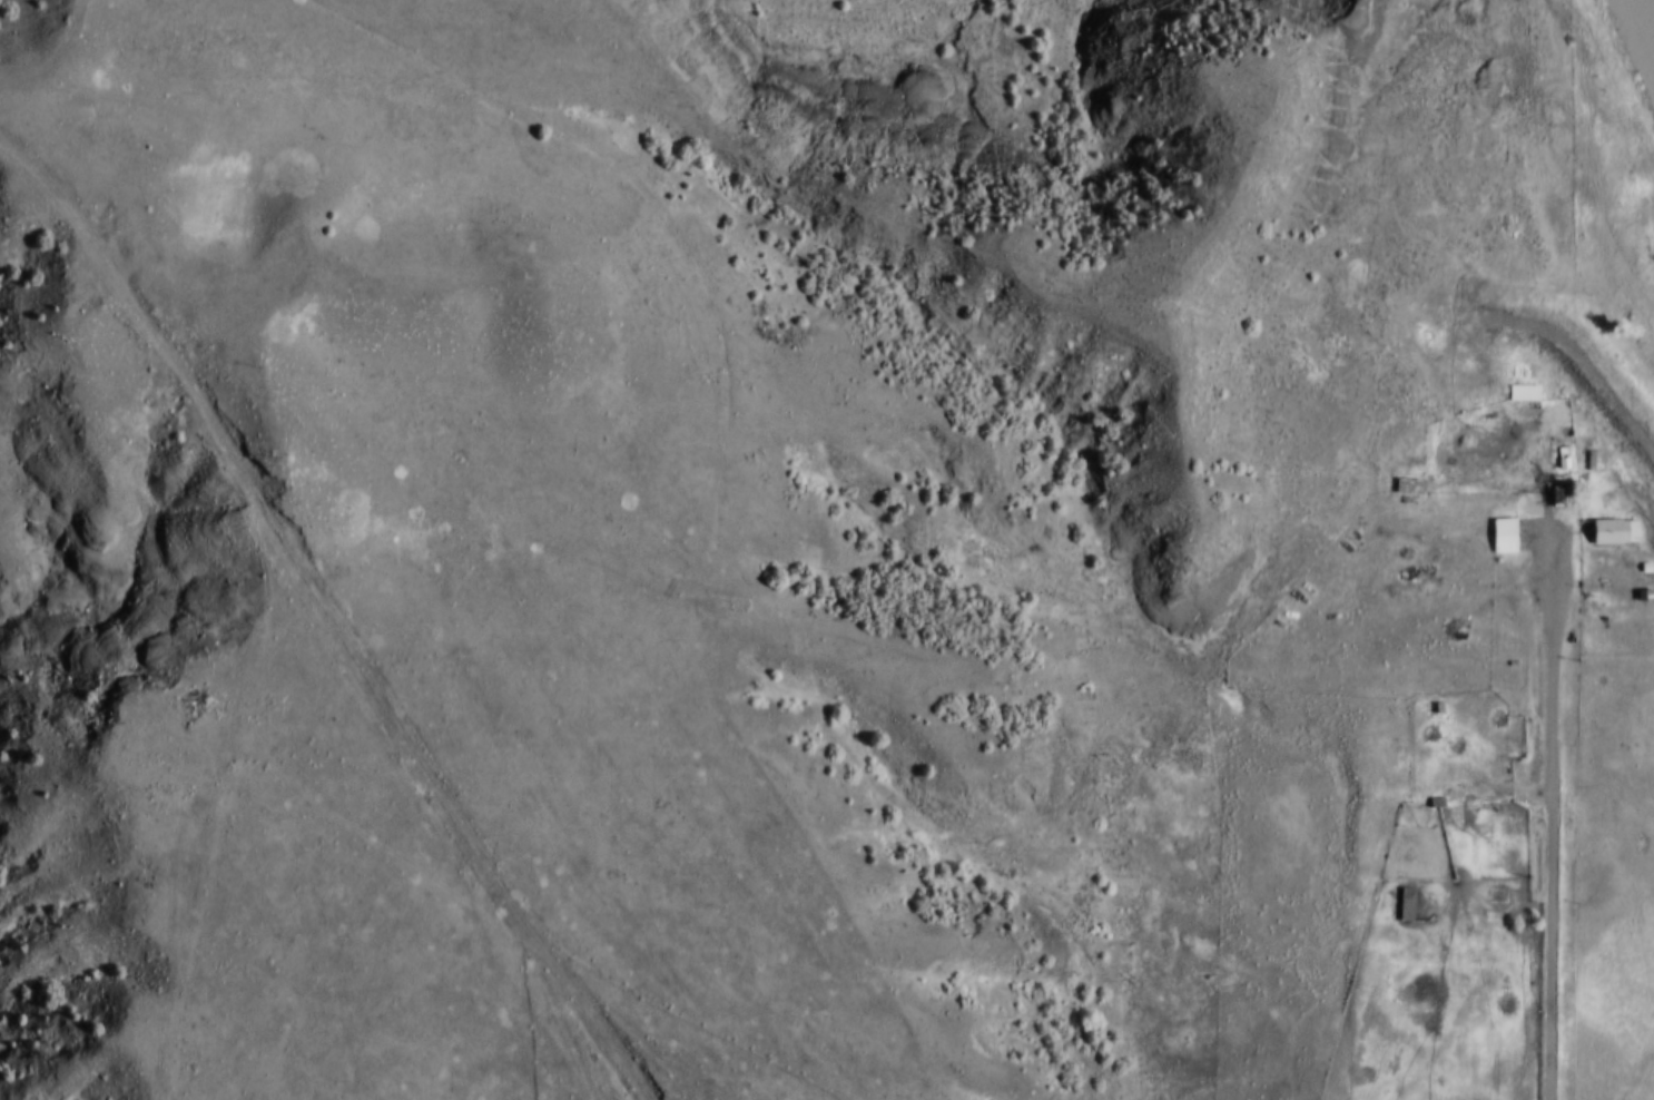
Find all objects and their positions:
building: (1517, 377)
building: (1524, 394)
building: (1588, 446)
building: (1557, 449)
building: (1402, 471)
building: (1549, 482)
building: (1410, 487)
building: (1607, 515)
building: (1497, 521)
building: (1615, 532)
building: (1505, 537)
building: (1640, 553)
building: (1640, 579)
building: (1651, 607)
road: (329, 612)
building: (1641, 636)
building: (1433, 693)
building: (1496, 749)
building: (1429, 788)
road: (1549, 813)
building: (1400, 888)
building: (1401, 902)

